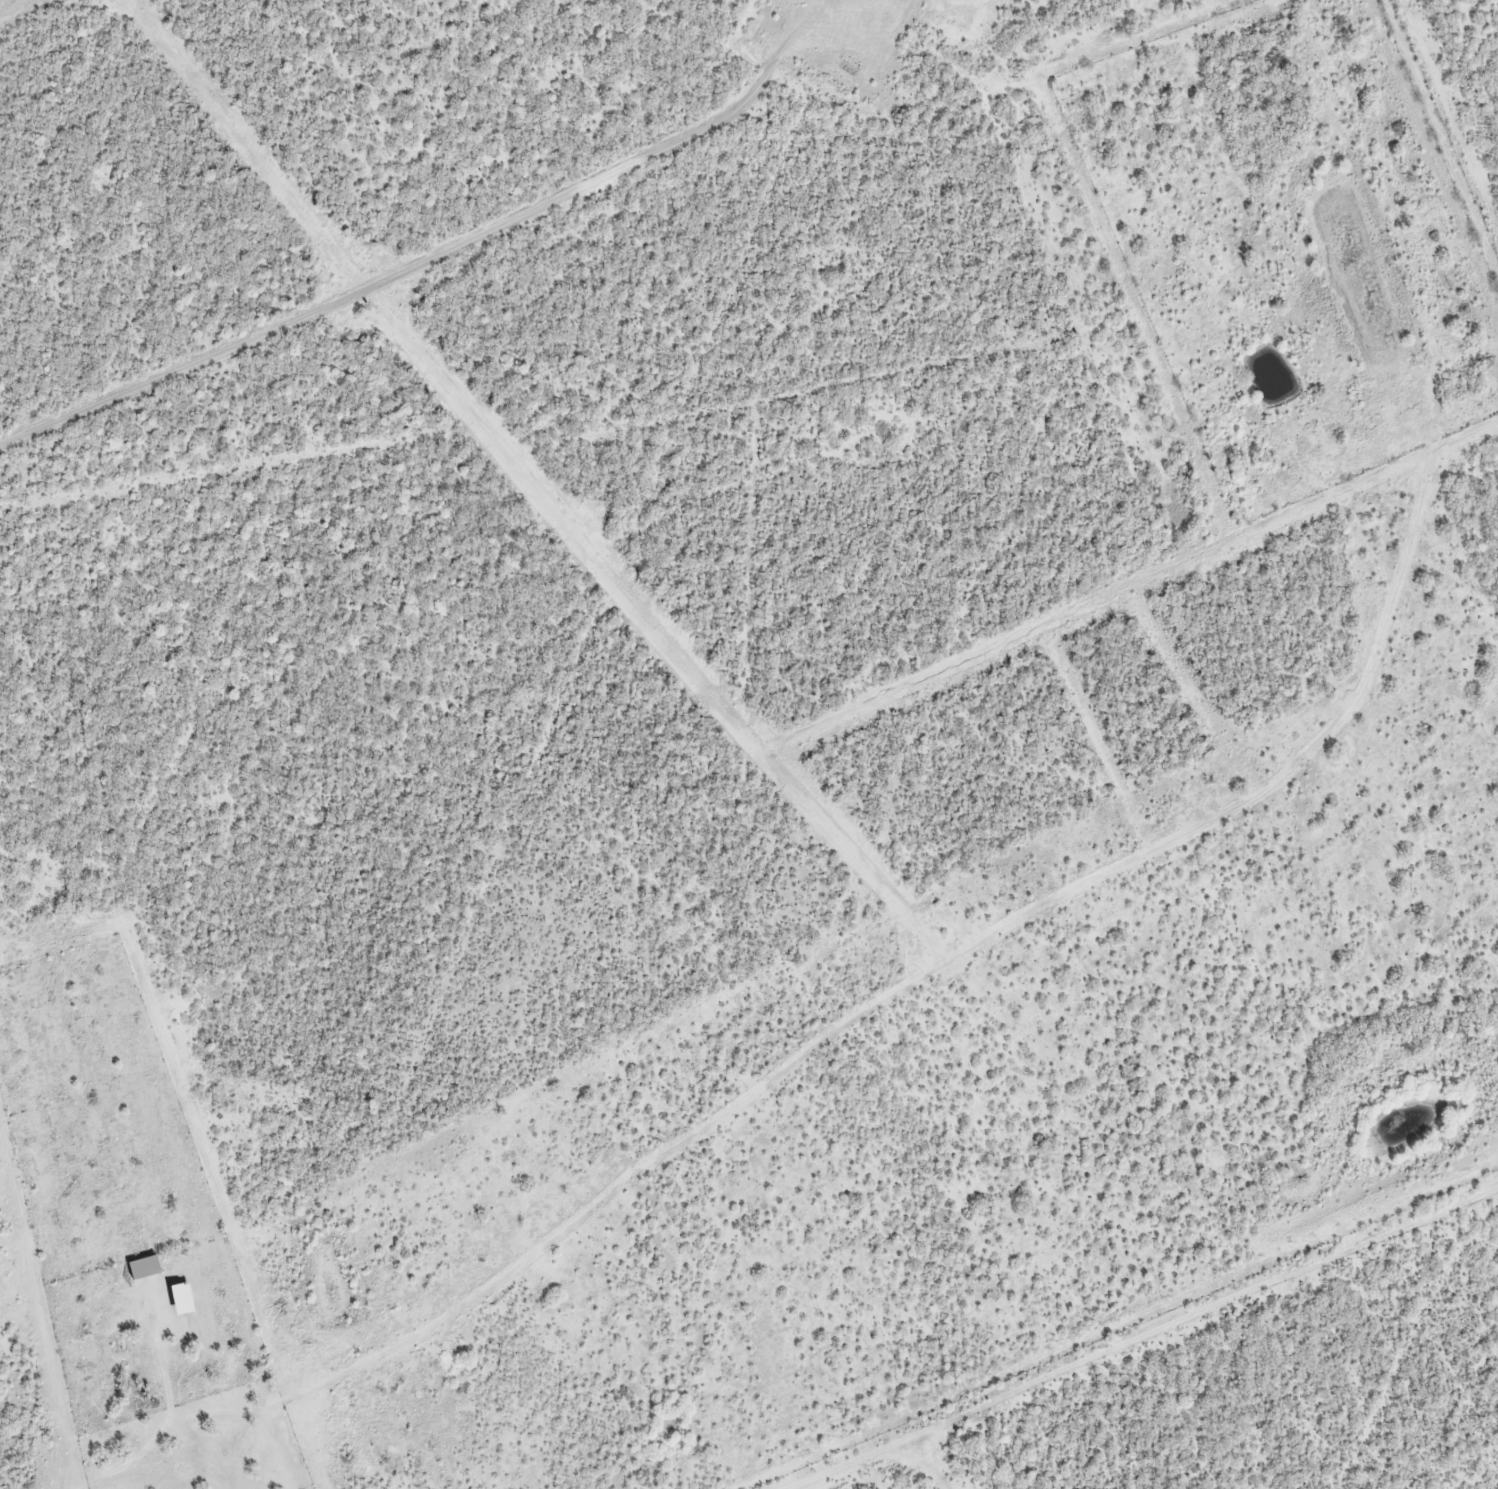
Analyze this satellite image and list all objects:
road: (434, 240)
building: (149, 1268)

